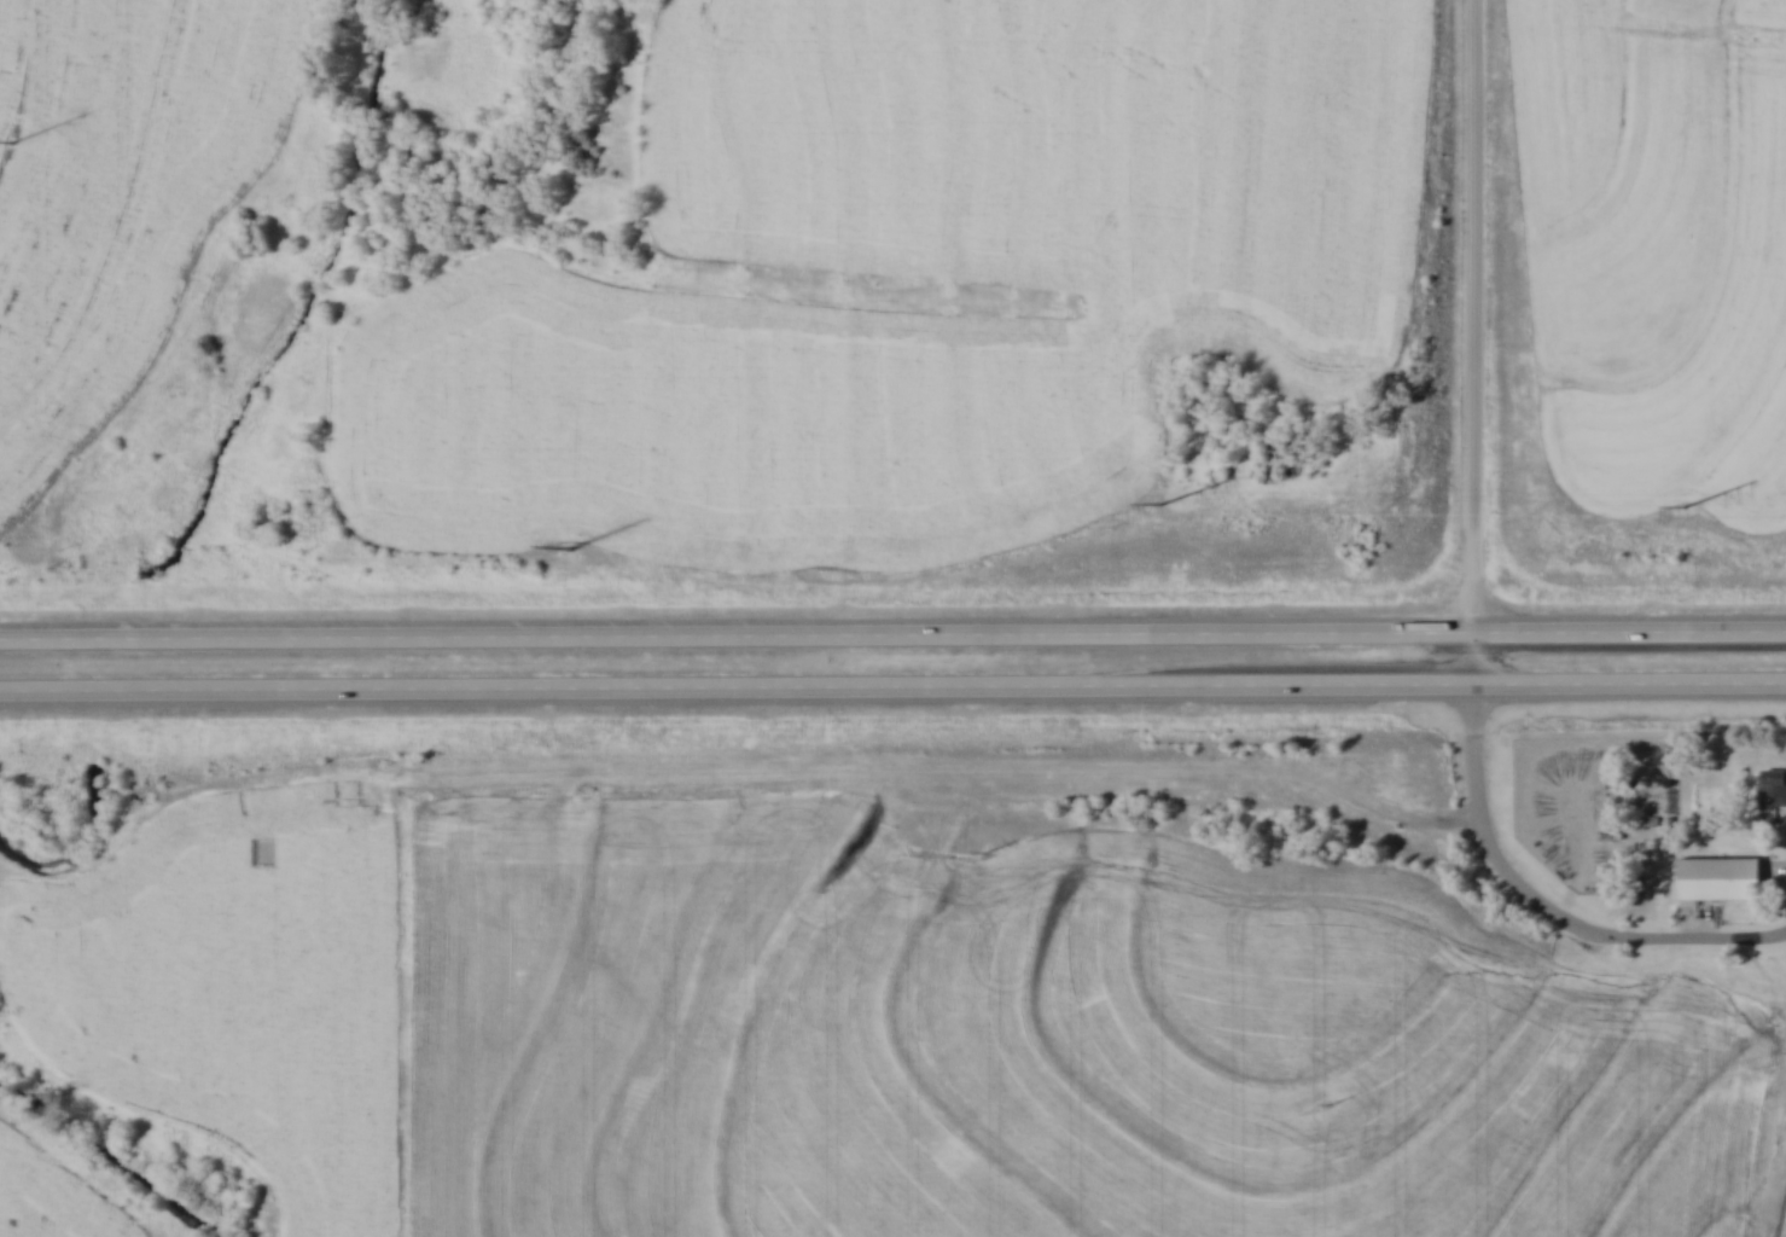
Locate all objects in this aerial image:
power tower: (14, 141)
road: (1482, 345)
power tower: (1164, 504)
power tower: (1685, 506)
power tower: (570, 546)
road: (892, 637)
road: (892, 695)
building: (1773, 788)
building: (1721, 879)
road: (1548, 913)

